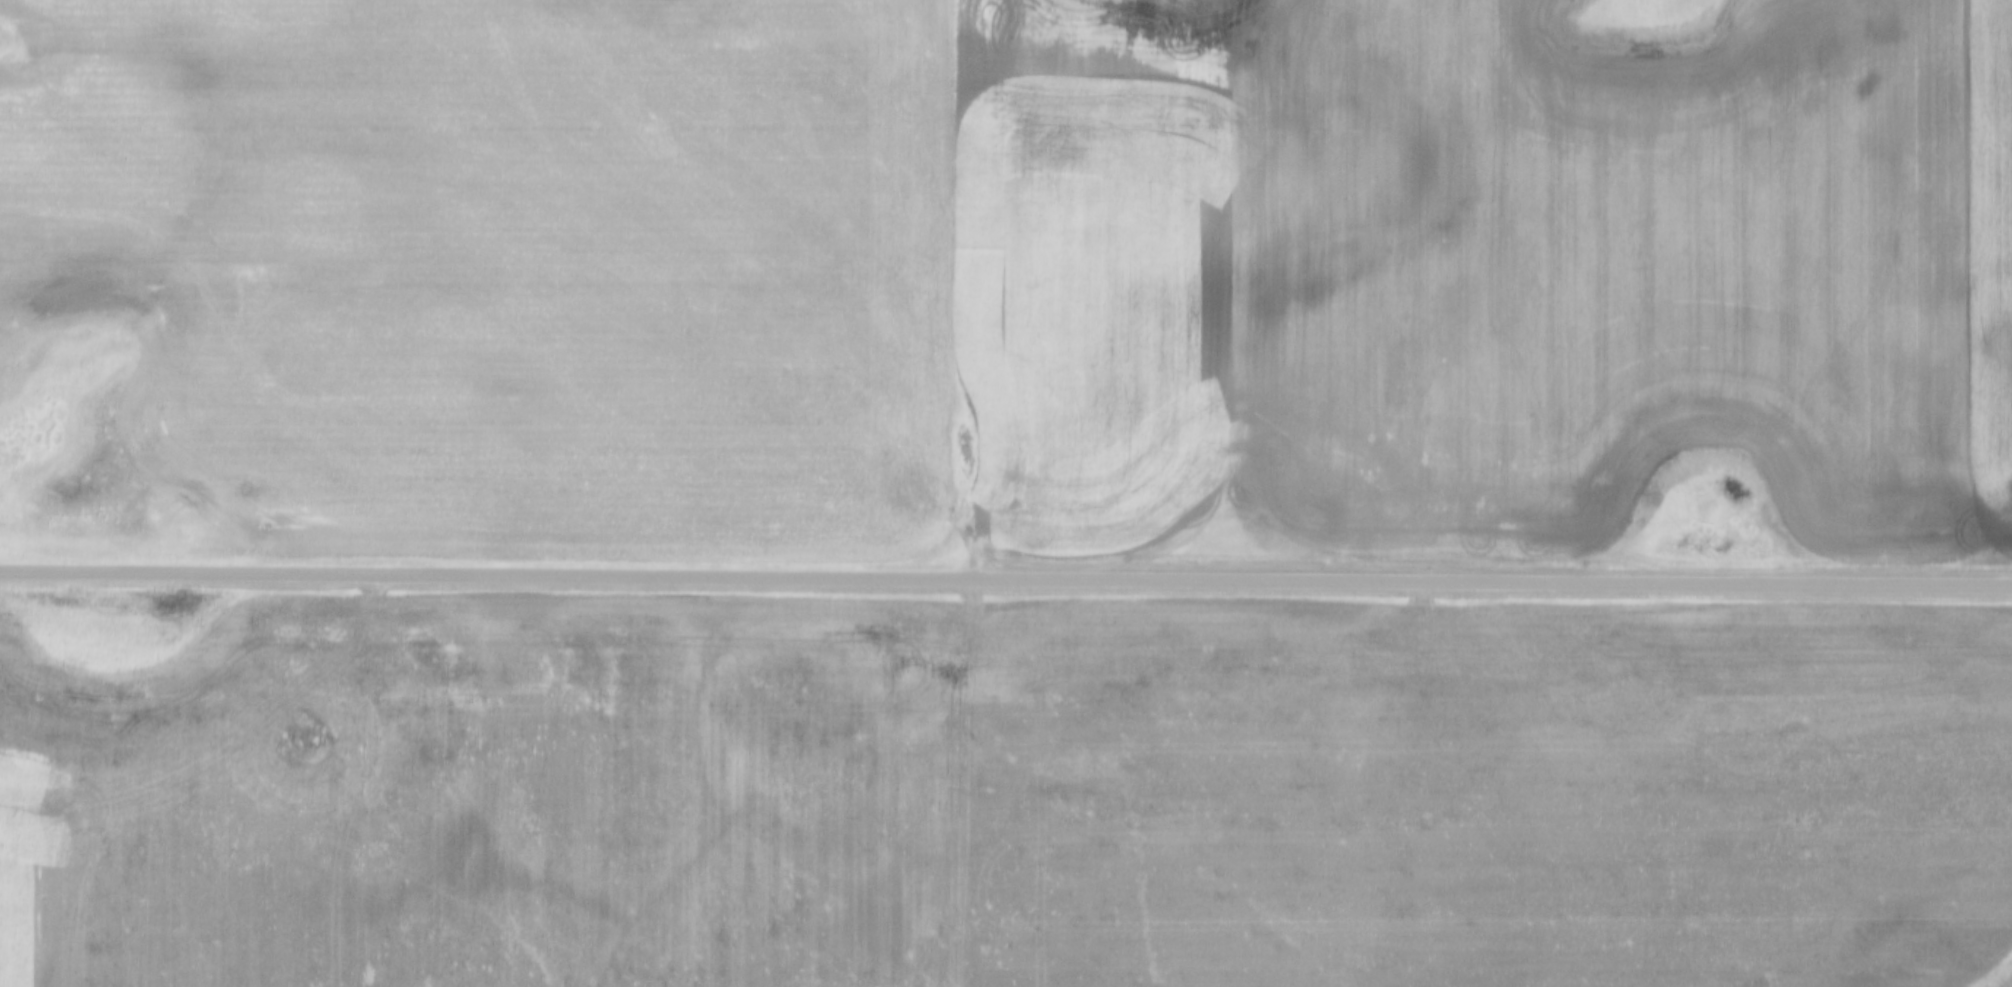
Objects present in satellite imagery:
road: (1006, 577)

